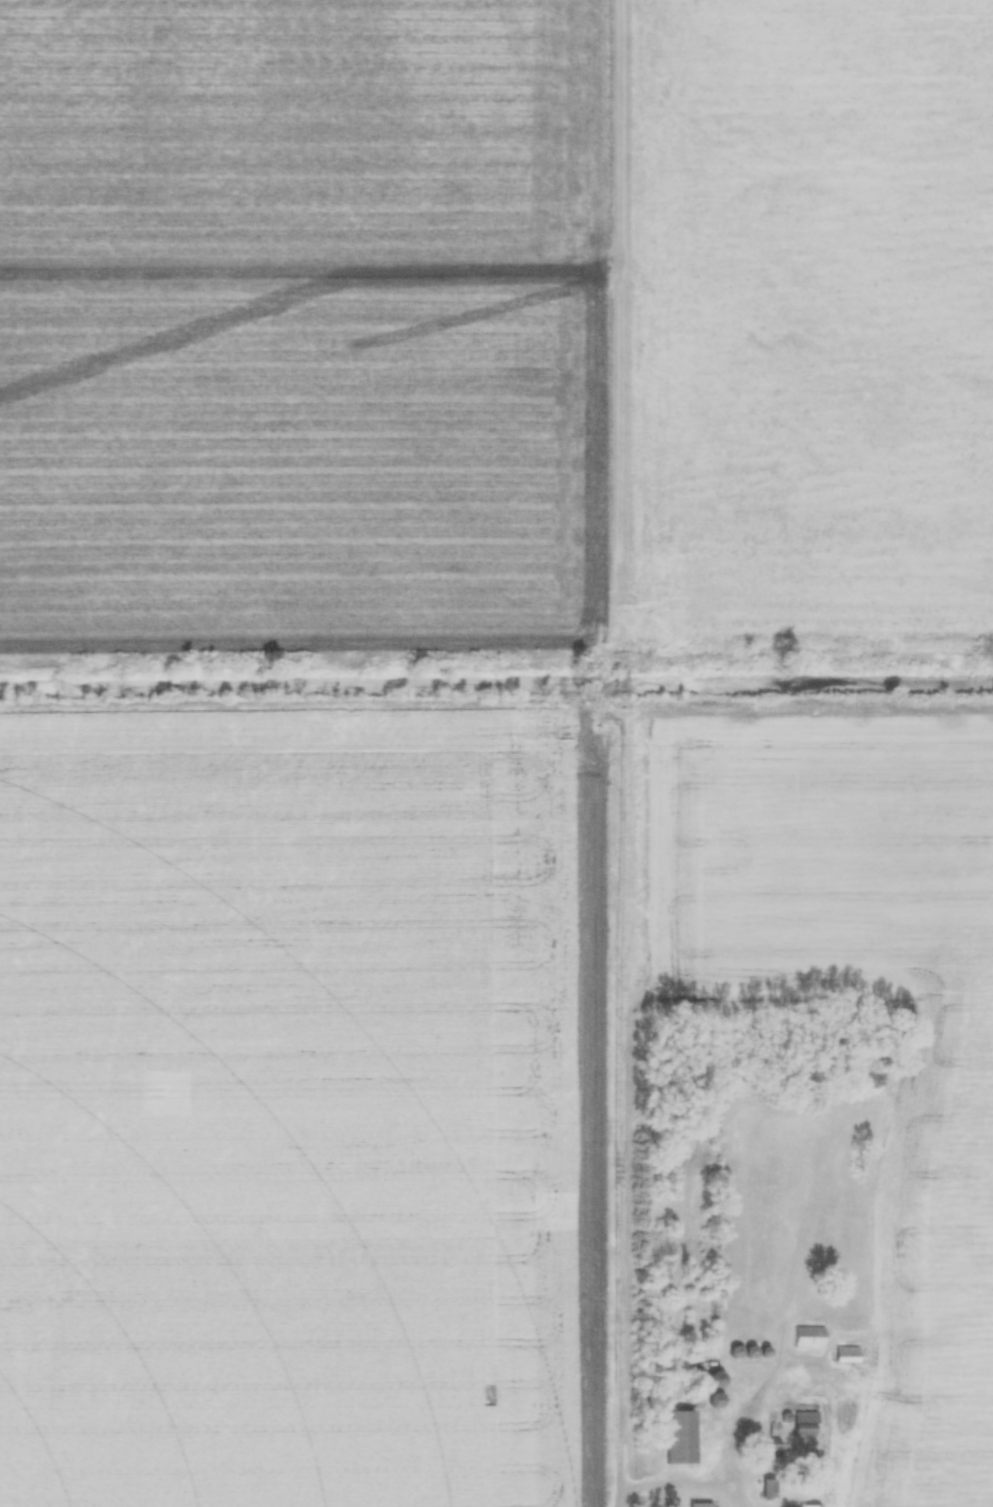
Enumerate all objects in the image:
road: (627, 753)
building: (808, 1334)
building: (806, 1420)
building: (682, 1437)
building: (772, 1446)
road: (676, 1481)
building: (702, 1503)
building: (812, 1503)

